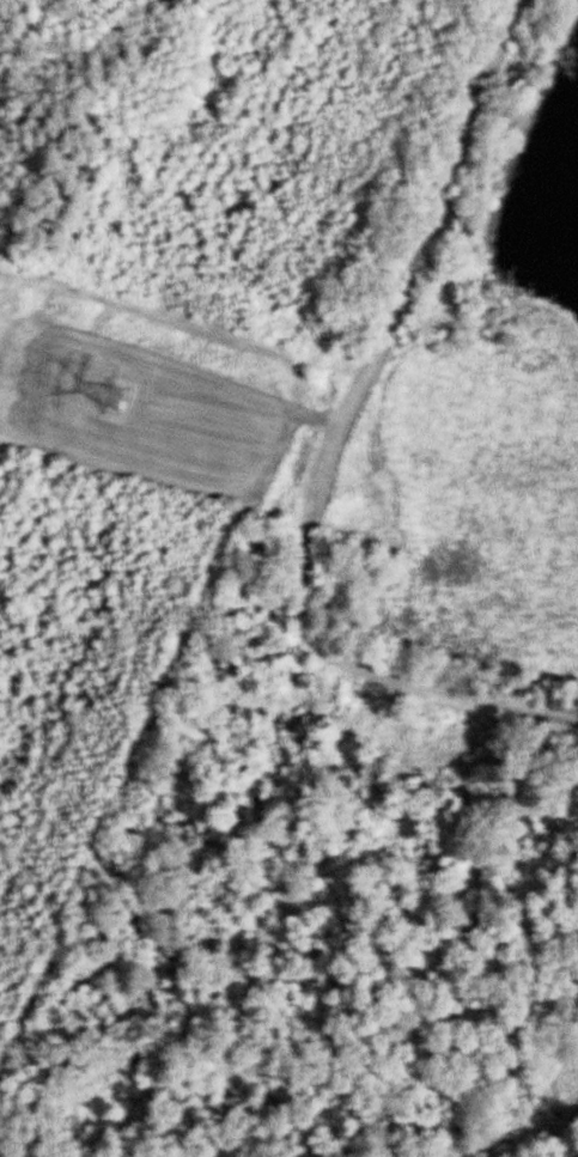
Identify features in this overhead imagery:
power tower: (127, 400)
road: (359, 442)

